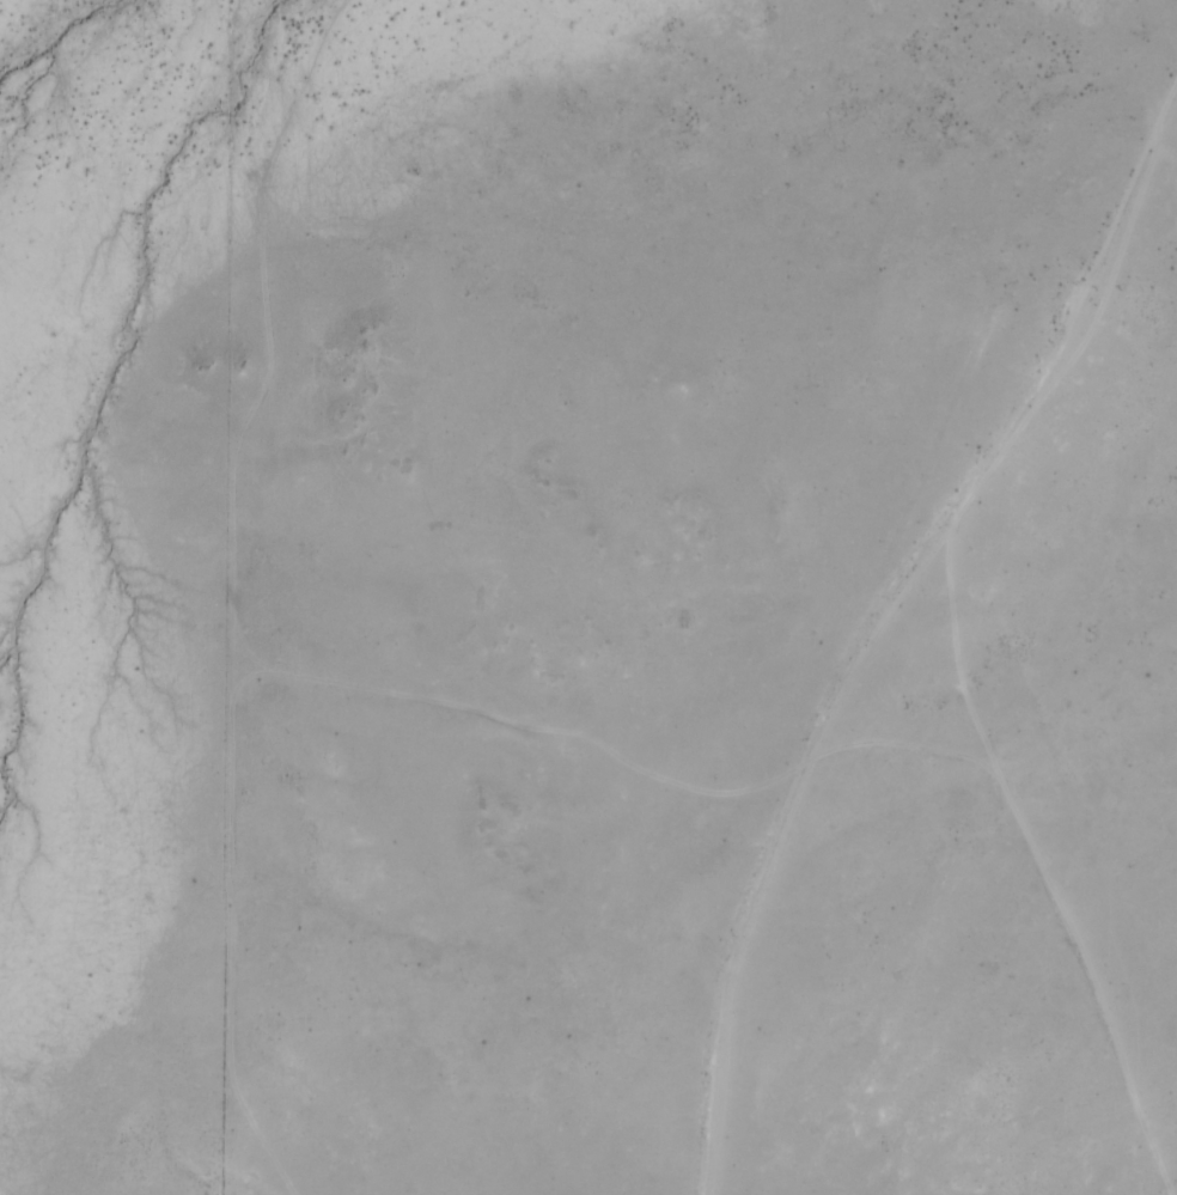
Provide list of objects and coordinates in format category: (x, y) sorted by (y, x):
river: (49, 32)
road: (873, 645)
road: (1043, 872)

